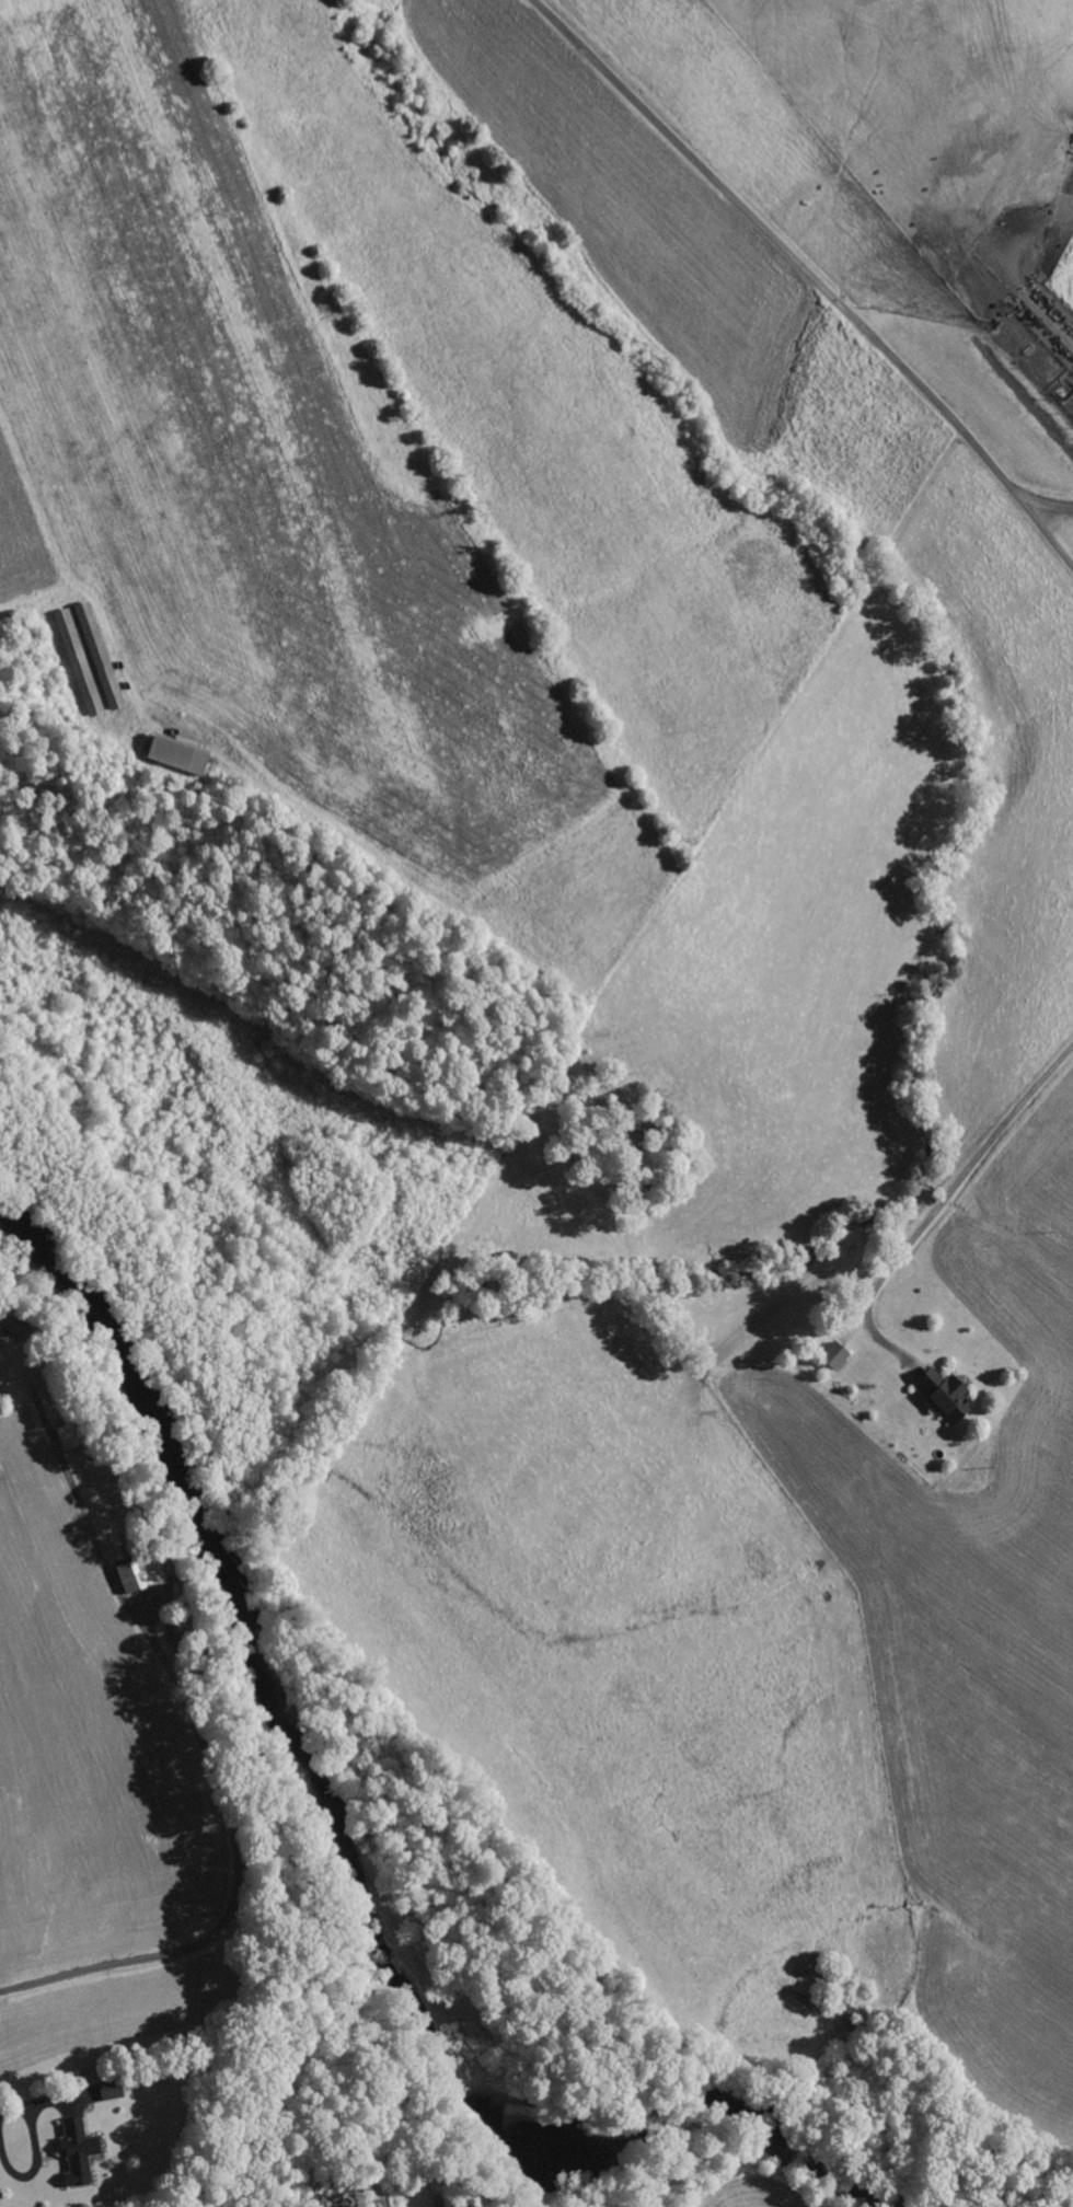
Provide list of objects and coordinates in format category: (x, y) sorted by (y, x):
road: (812, 274)
building: (180, 754)
building: (839, 1355)
building: (948, 1395)
building: (142, 1573)
building: (113, 2090)
building: (81, 2152)
building: (461, 2205)

